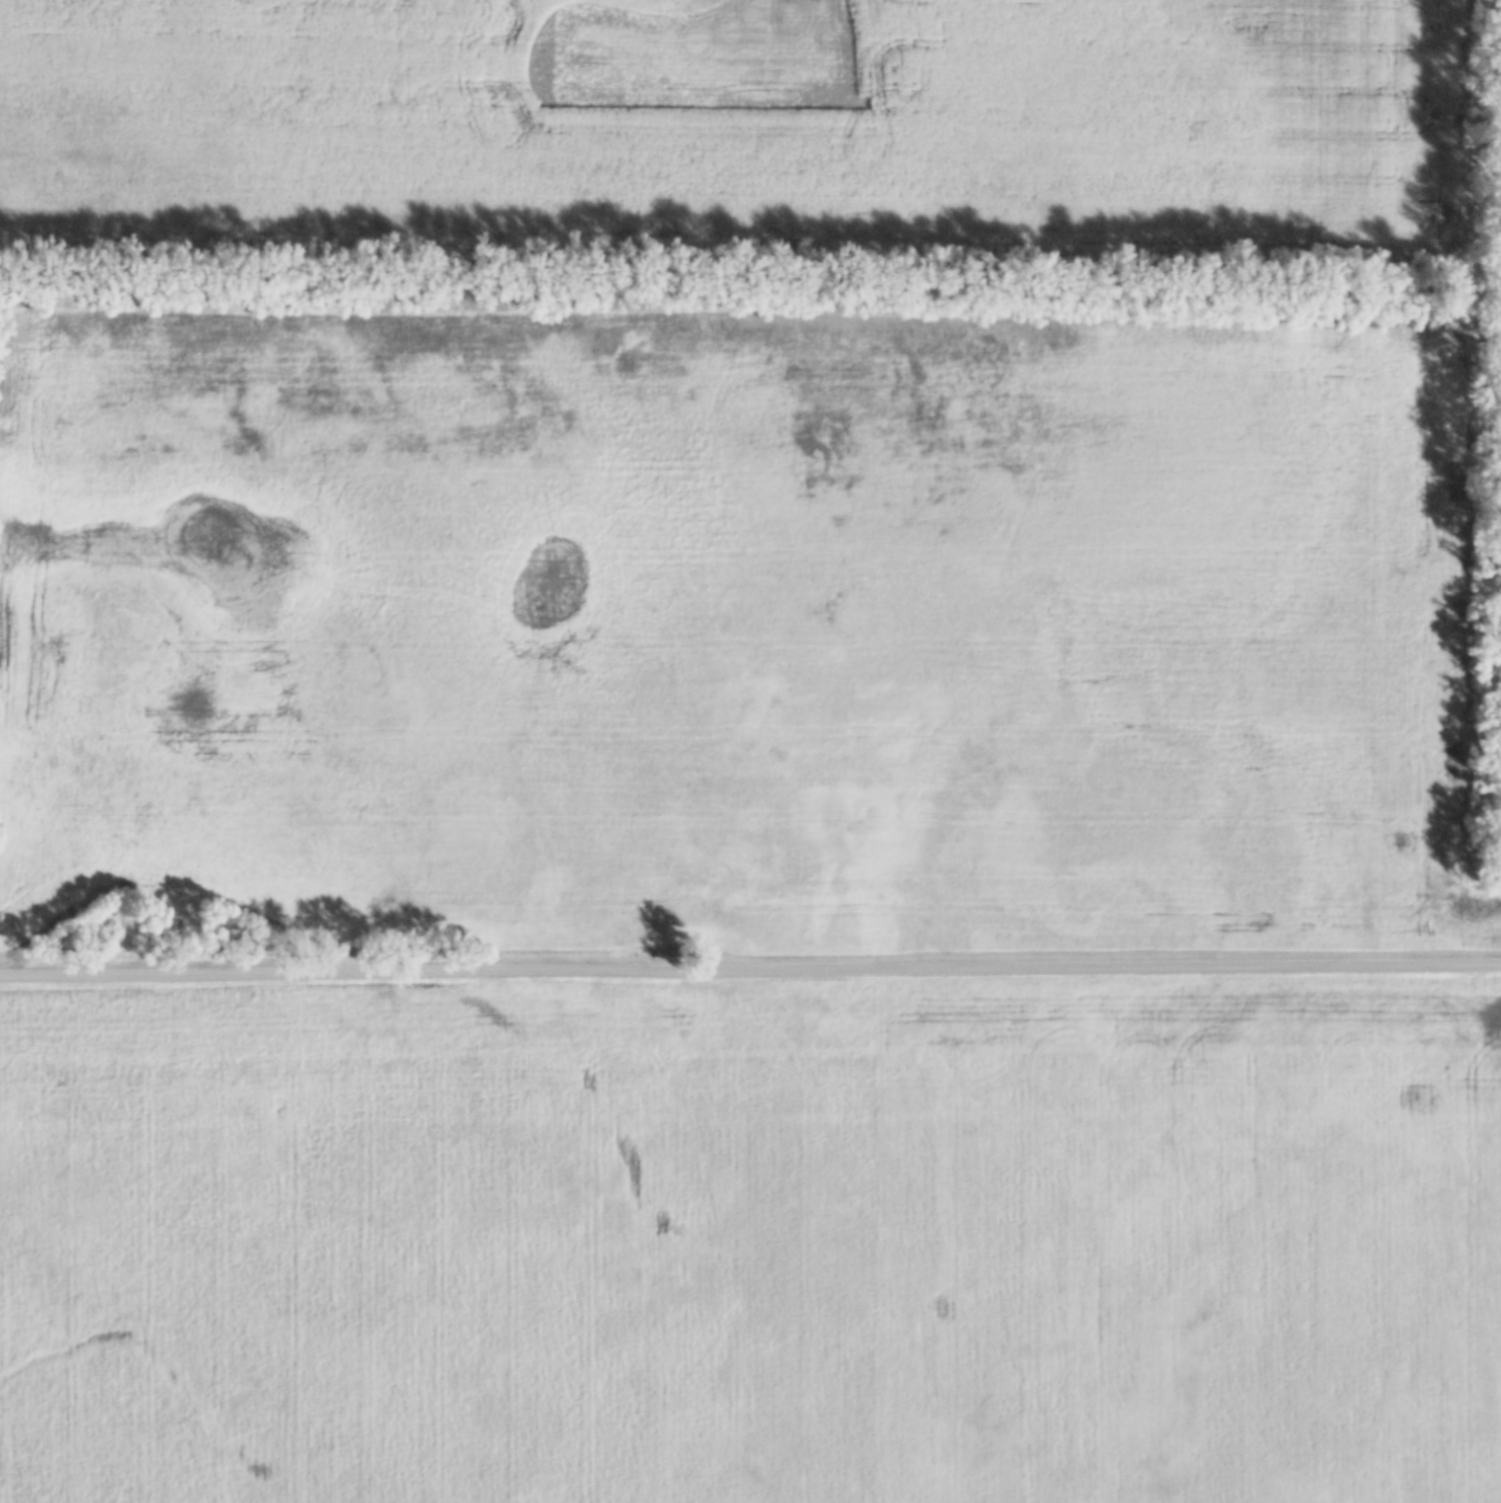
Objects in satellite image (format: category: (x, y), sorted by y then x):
road: (750, 973)

